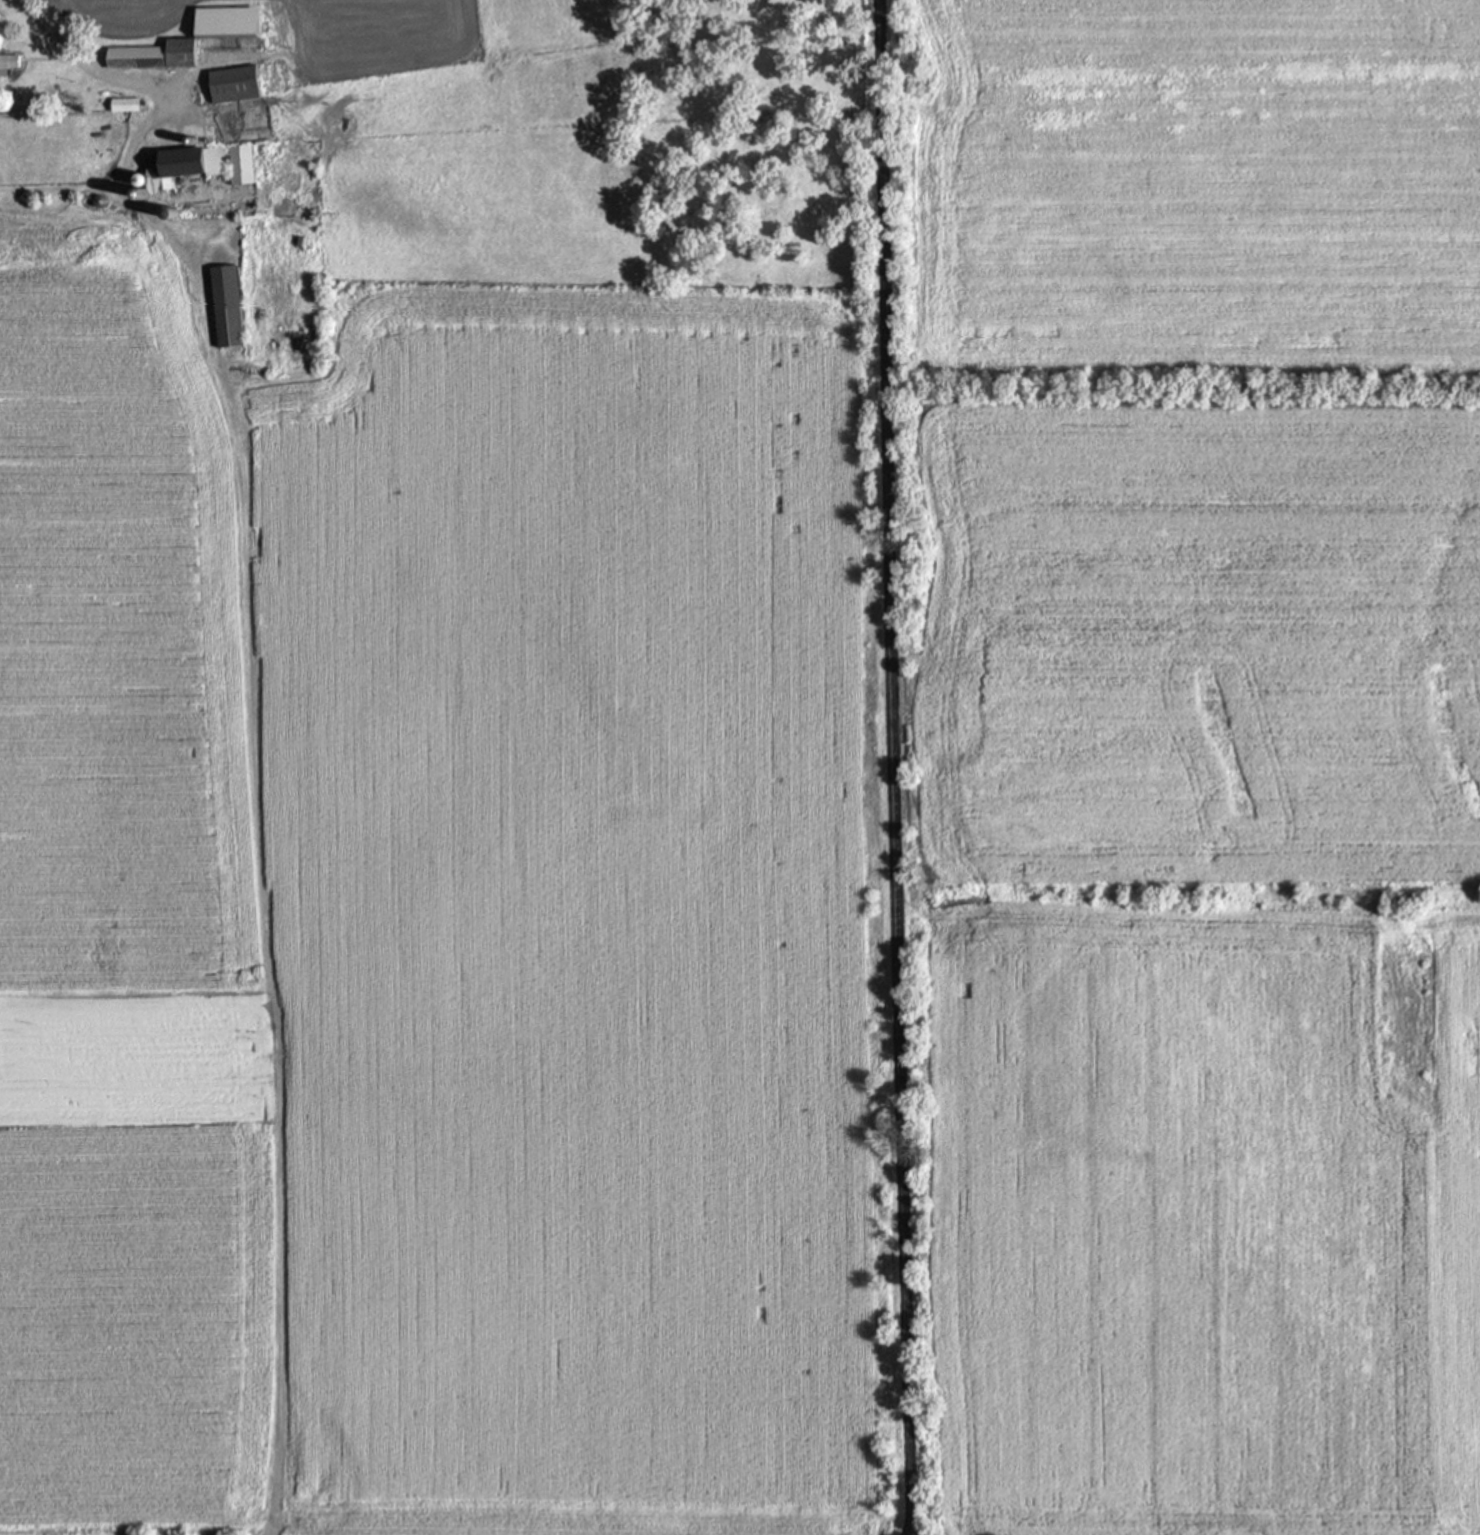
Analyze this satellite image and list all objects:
building: (224, 22)
building: (152, 55)
building: (8, 60)
road: (122, 82)
building: (230, 84)
building: (237, 163)
building: (179, 165)
road: (60, 189)
building: (223, 306)
road: (896, 767)
road: (258, 844)

